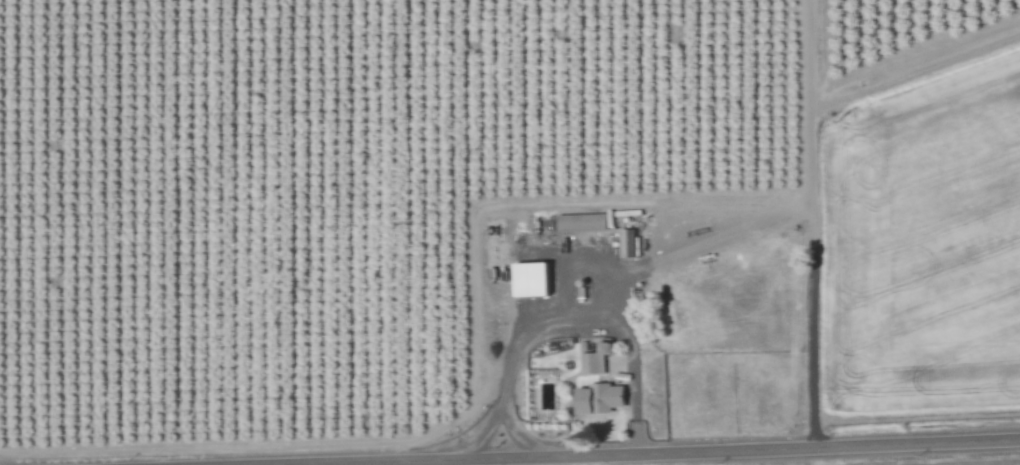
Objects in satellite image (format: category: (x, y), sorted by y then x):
building: (586, 222)
road: (815, 224)
building: (629, 244)
building: (533, 280)
road: (616, 310)
road: (635, 383)
building: (599, 399)
road: (689, 454)

